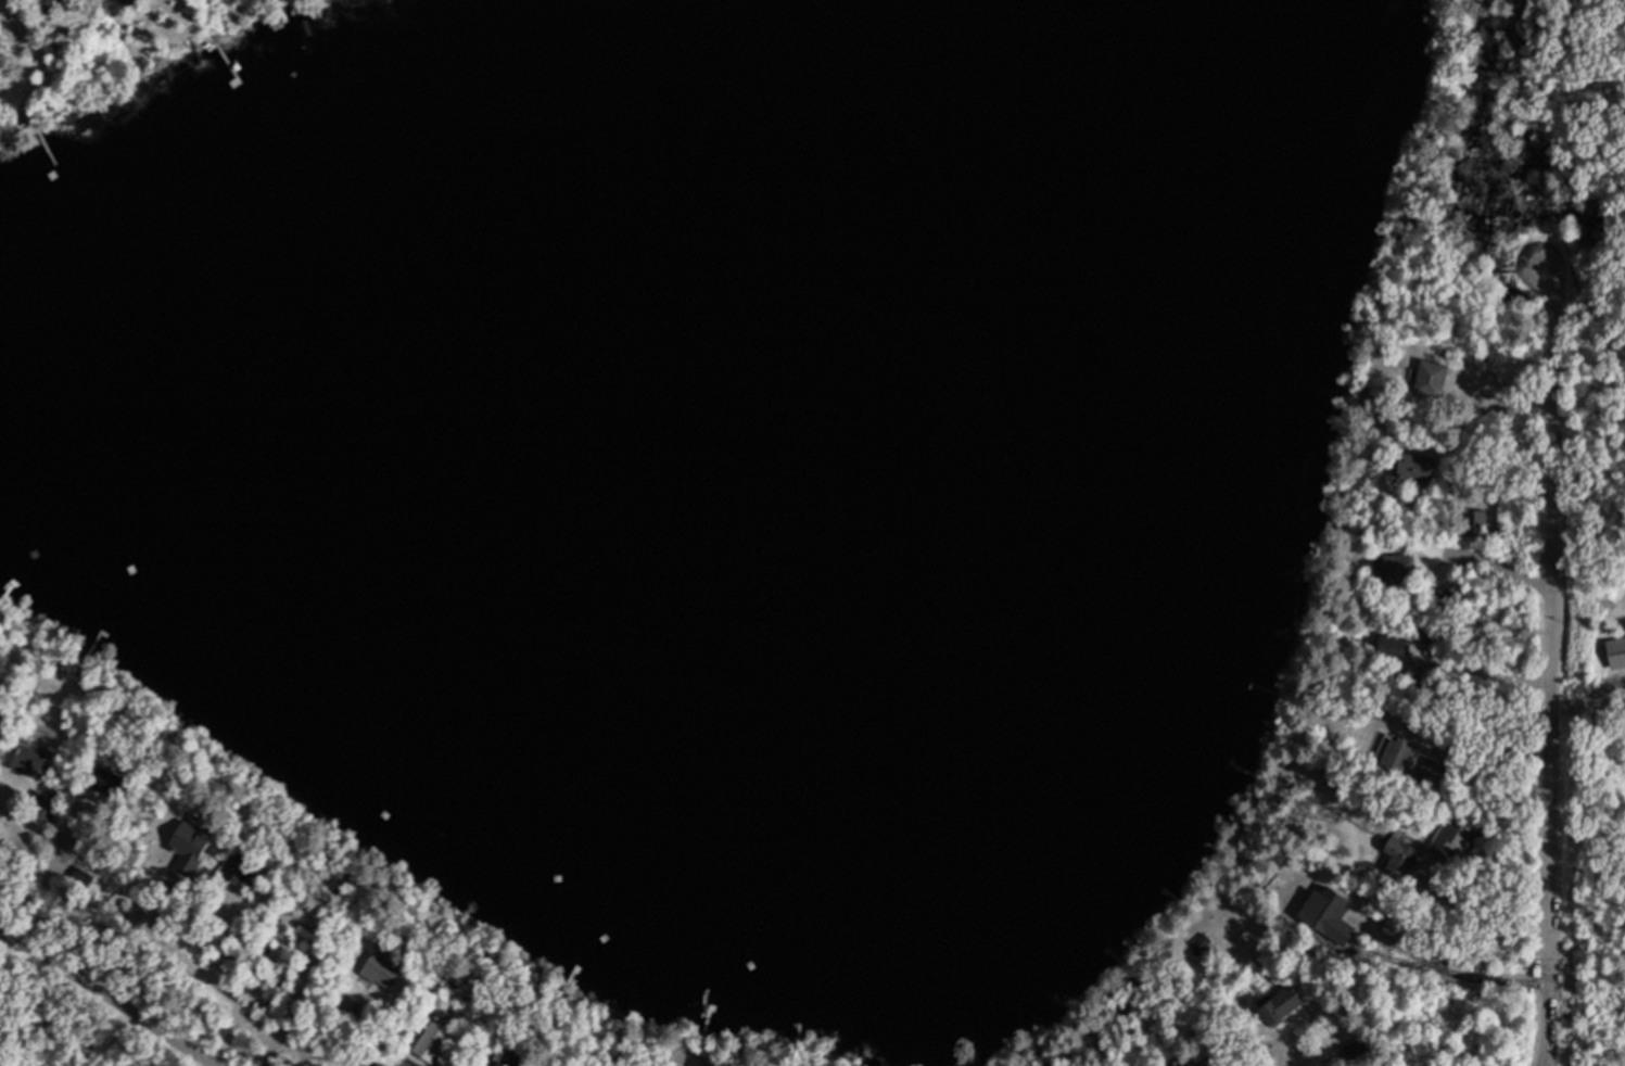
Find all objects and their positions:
building: (131, 3)
building: (11, 30)
building: (1434, 377)
building: (1417, 468)
building: (1400, 566)
building: (1423, 633)
building: (1395, 656)
road: (1553, 665)
building: (1397, 754)
building: (33, 761)
building: (114, 781)
building: (48, 808)
building: (1452, 839)
building: (1406, 855)
building: (312, 935)
building: (385, 969)
road: (110, 995)
building: (507, 1063)

